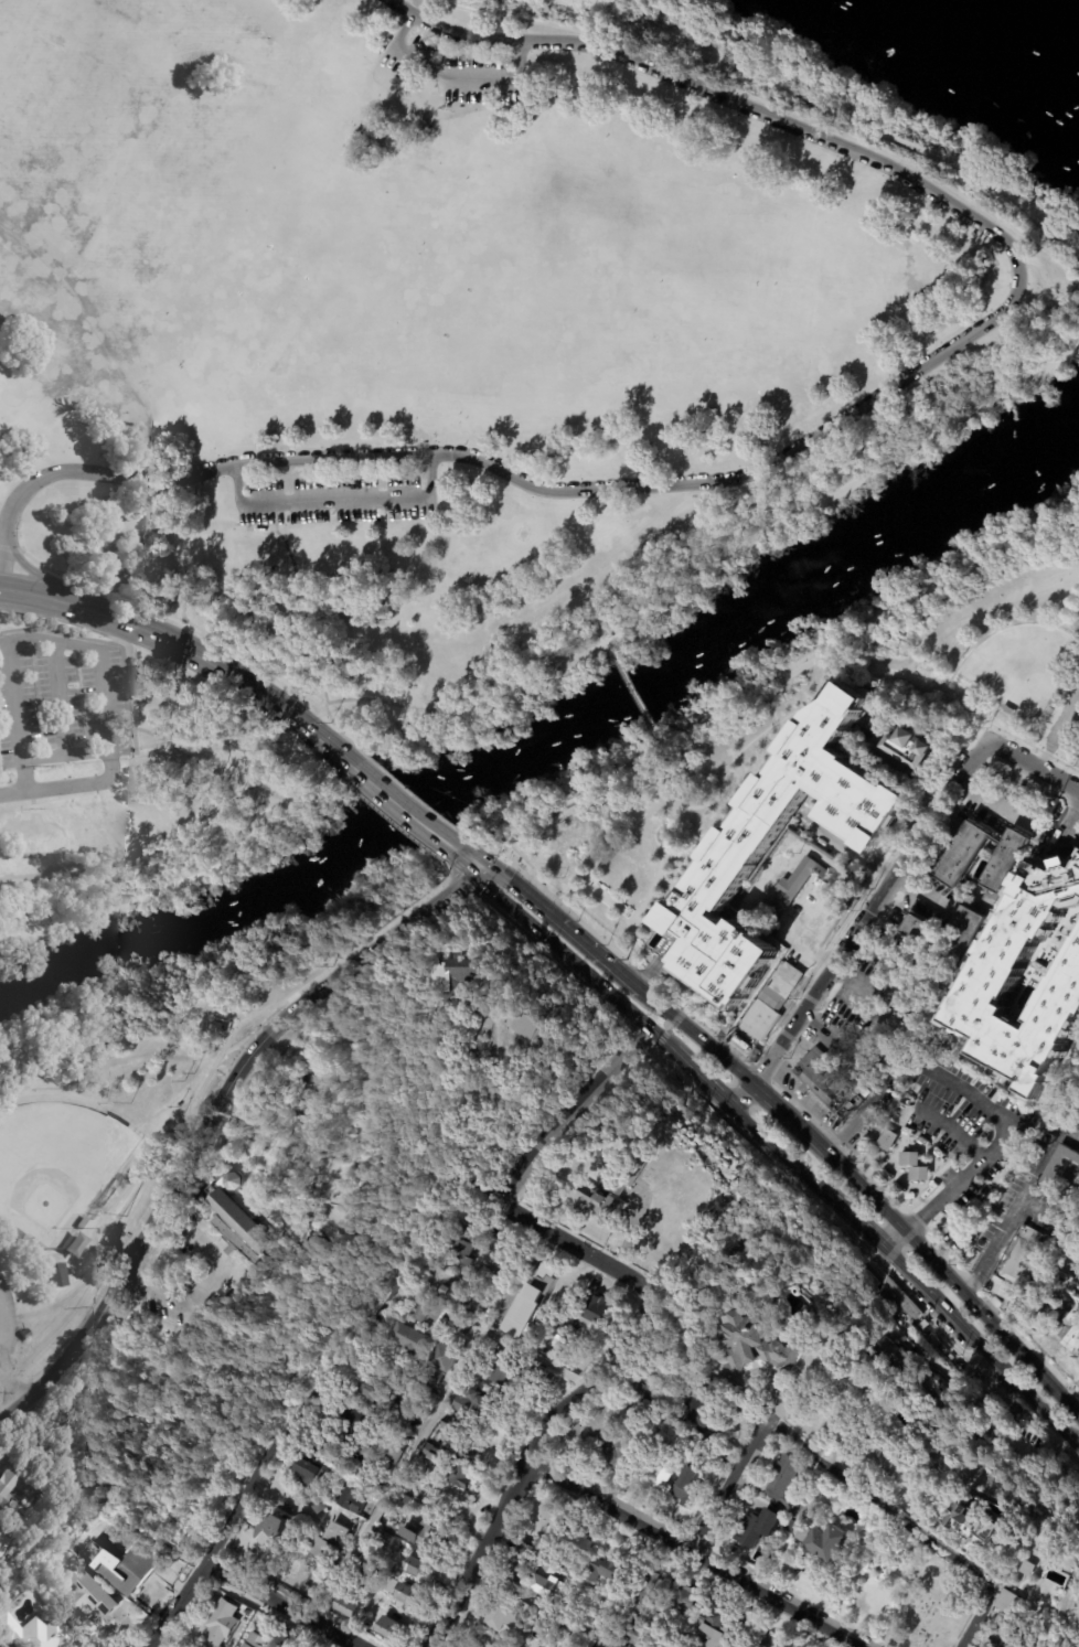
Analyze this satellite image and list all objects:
river: (981, 45)
building: (462, 65)
parking lot: (455, 72)
road: (450, 82)
road: (803, 96)
road: (726, 98)
road: (1057, 235)
park: (428, 249)
park: (495, 271)
road: (1059, 352)
railway: (850, 430)
park: (397, 462)
road: (425, 472)
road: (512, 478)
road: (233, 482)
parking lot: (328, 501)
road: (822, 501)
road: (331, 503)
road: (1, 547)
road: (968, 570)
road: (35, 573)
road: (38, 597)
road: (188, 633)
road: (45, 640)
road: (115, 643)
road: (612, 648)
road: (128, 653)
road: (543, 663)
park: (1015, 666)
road: (221, 669)
road: (757, 687)
road: (320, 689)
road: (634, 692)
road: (61, 697)
road: (964, 699)
building: (1053, 700)
parking lot: (61, 704)
road: (320, 708)
building: (1009, 712)
building: (243, 713)
road: (440, 716)
park: (727, 721)
road: (656, 735)
road: (232, 748)
building: (912, 748)
road: (65, 753)
park: (1076, 757)
road: (1030, 763)
road: (216, 769)
road: (374, 773)
road: (52, 788)
road: (415, 795)
road: (992, 801)
road: (568, 803)
road: (301, 804)
road: (403, 808)
road: (388, 817)
road: (1066, 824)
building: (745, 839)
road: (847, 845)
road: (481, 848)
building: (963, 855)
road: (467, 858)
building: (1004, 860)
traffic signals: (478, 866)
road: (446, 868)
road: (837, 870)
building: (789, 891)
road: (922, 894)
road: (146, 896)
building: (651, 903)
road: (562, 923)
road: (857, 924)
road: (285, 935)
building: (921, 935)
road: (879, 945)
road: (555, 951)
building: (998, 970)
building: (450, 977)
road: (869, 1002)
building: (771, 1004)
building: (536, 1027)
road: (669, 1028)
road: (698, 1034)
road: (658, 1037)
road: (845, 1044)
road: (15, 1049)
road: (702, 1080)
building: (829, 1085)
road: (201, 1089)
road: (566, 1112)
road: (790, 1112)
road: (207, 1115)
road: (857, 1117)
road: (953, 1126)
building: (887, 1140)
road: (992, 1143)
road: (781, 1153)
park: (55, 1164)
building: (637, 1164)
building: (914, 1166)
building: (1062, 1176)
road: (864, 1185)
building: (596, 1200)
road: (1013, 1202)
building: (683, 1221)
building: (83, 1222)
building: (241, 1222)
road: (855, 1222)
road: (631, 1231)
building: (18, 1232)
road: (894, 1234)
building: (76, 1244)
building: (460, 1245)
road: (580, 1249)
road: (933, 1254)
building: (1018, 1265)
building: (57, 1275)
building: (483, 1275)
building: (452, 1281)
road: (205, 1284)
building: (452, 1294)
building: (1035, 1295)
road: (70, 1296)
building: (532, 1301)
building: (763, 1303)
building: (897, 1307)
parking lot: (8, 1312)
building: (427, 1313)
building: (581, 1319)
building: (459, 1325)
building: (1068, 1329)
building: (412, 1340)
road: (0, 1341)
building: (755, 1344)
road: (981, 1345)
road: (344, 1346)
road: (1021, 1352)
building: (894, 1356)
building: (441, 1358)
building: (515, 1371)
building: (647, 1376)
building: (824, 1376)
building: (430, 1378)
road: (14, 1380)
building: (377, 1394)
building: (862, 1395)
building: (477, 1407)
road: (1076, 1408)
building: (702, 1411)
road: (777, 1422)
building: (823, 1424)
building: (974, 1424)
building: (350, 1425)
building: (402, 1425)
road: (430, 1425)
building: (675, 1426)
building: (590, 1427)
building: (993, 1434)
building: (457, 1439)
building: (692, 1439)
road: (1078, 1446)
road: (1078, 1447)
building: (613, 1452)
building: (428, 1459)
building: (389, 1461)
building: (885, 1461)
road: (526, 1462)
building: (314, 1473)
building: (456, 1476)
building: (783, 1476)
building: (653, 1479)
road: (730, 1484)
building: (688, 1488)
building: (14, 1489)
building: (351, 1501)
building: (833, 1502)
building: (908, 1505)
building: (397, 1511)
building: (799, 1511)
building: (972, 1523)
building: (758, 1525)
building: (793, 1528)
building: (13, 1530)
road: (917, 1532)
building: (275, 1533)
building: (420, 1536)
building: (381, 1540)
building: (325, 1541)
building: (827, 1541)
building: (575, 1544)
building: (4, 1546)
road: (695, 1553)
building: (127, 1566)
building: (416, 1566)
building: (519, 1568)
building: (1027, 1569)
building: (601, 1571)
building: (546, 1573)
building: (364, 1576)
building: (386, 1583)
building: (647, 1593)
building: (404, 1595)
building: (87, 1597)
building: (553, 1597)
building: (683, 1602)
road: (181, 1604)
road: (284, 1604)
building: (1009, 1604)
building: (344, 1607)
road: (544, 1607)
building: (499, 1614)
building: (542, 1624)
building: (221, 1625)
building: (707, 1627)
building: (555, 1628)
building: (387, 1629)
building: (35, 1634)
building: (633, 1634)
building: (1011, 1638)
building: (256, 1640)
building: (566, 1641)
building: (771, 1644)

